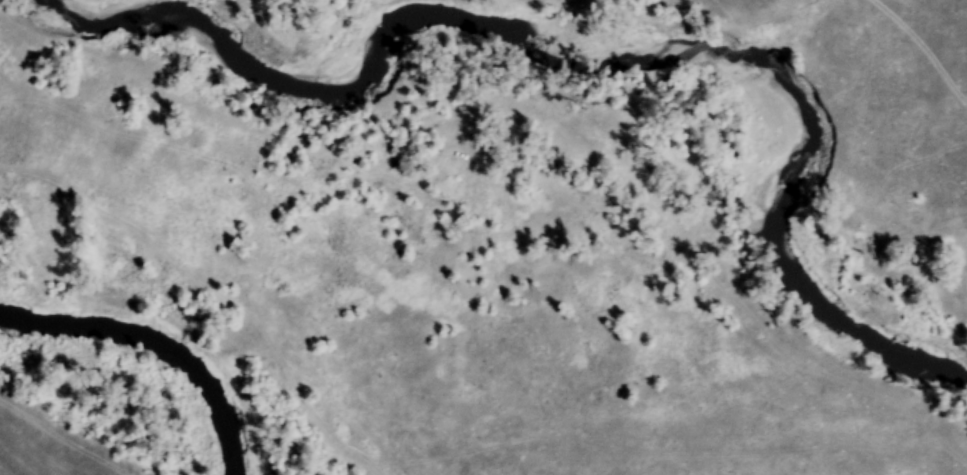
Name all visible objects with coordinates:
river: (585, 54)
road: (894, 67)
river: (157, 343)

